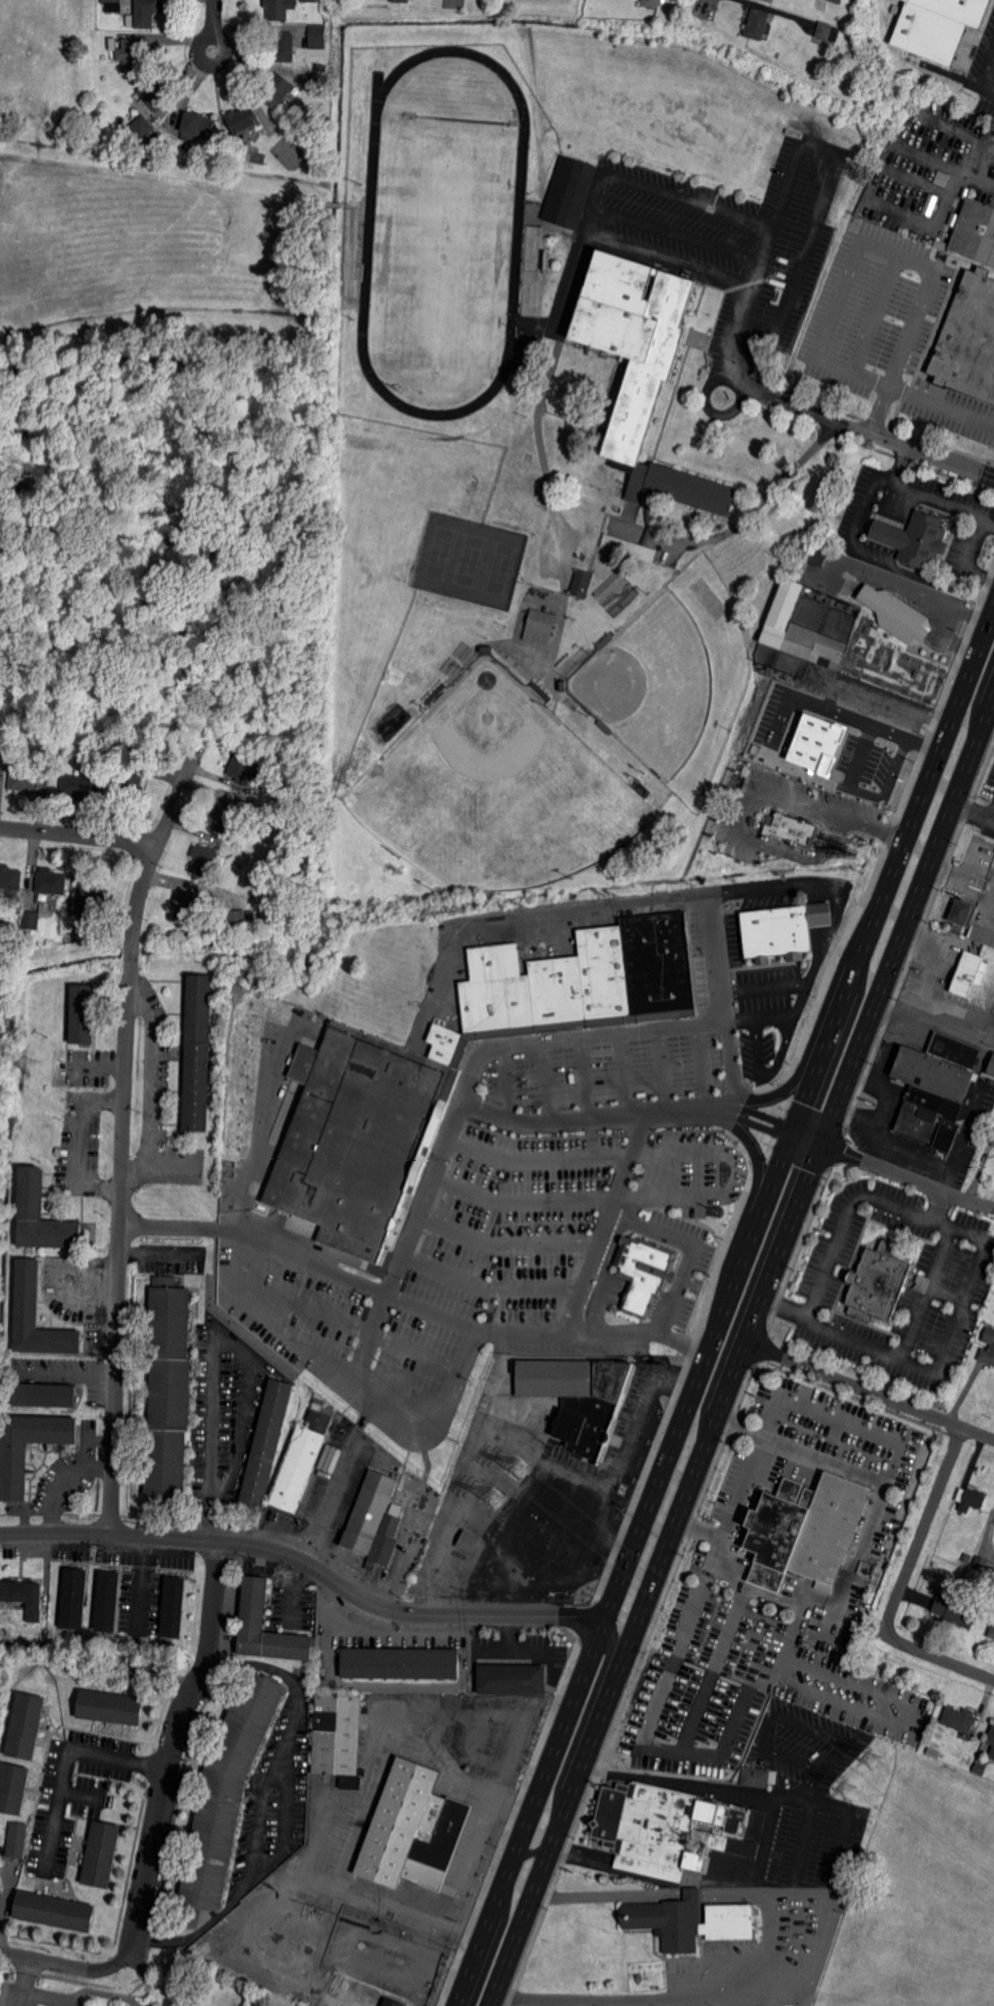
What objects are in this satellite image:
building: (310, 0)
building: (402, 0)
road: (453, 1)
building: (771, 1)
building: (342, 2)
building: (842, 2)
building: (653, 3)
building: (113, 6)
road: (706, 6)
building: (277, 9)
building: (141, 13)
building: (757, 24)
road: (211, 25)
building: (938, 26)
building: (828, 32)
building: (317, 36)
building: (284, 46)
building: (133, 54)
building: (321, 68)
road: (981, 77)
building: (317, 82)
building: (276, 90)
building: (155, 94)
building: (243, 119)
building: (197, 126)
building: (142, 127)
road: (813, 144)
road: (978, 181)
building: (570, 192)
road: (594, 202)
track: (368, 228)
building: (975, 231)
road: (679, 233)
road: (861, 247)
building: (350, 251)
park: (442, 256)
building: (546, 260)
road: (569, 284)
building: (968, 338)
building: (524, 363)
building: (643, 376)
road: (734, 381)
road: (915, 394)
road: (863, 431)
road: (541, 449)
road: (937, 497)
road: (862, 505)
building: (913, 539)
road: (980, 544)
park: (438, 552)
building: (819, 556)
park: (469, 559)
park: (499, 567)
road: (906, 571)
road: (982, 575)
building: (581, 583)
building: (612, 589)
building: (624, 601)
road: (972, 611)
building: (825, 613)
building: (897, 615)
building: (539, 627)
building: (799, 631)
road: (948, 638)
building: (605, 641)
building: (488, 649)
park: (651, 684)
building: (563, 686)
building: (540, 691)
building: (435, 693)
building: (790, 712)
building: (604, 728)
road: (821, 738)
building: (816, 743)
building: (117, 763)
building: (245, 769)
building: (868, 769)
building: (29, 781)
building: (129, 785)
building: (81, 786)
park: (496, 790)
building: (260, 792)
building: (260, 811)
building: (223, 815)
road: (736, 823)
road: (879, 826)
building: (790, 828)
road: (79, 835)
building: (204, 860)
building: (10, 877)
road: (813, 878)
building: (50, 881)
road: (960, 882)
building: (91, 893)
building: (205, 904)
building: (185, 905)
building: (48, 908)
building: (250, 914)
building: (963, 914)
road: (543, 915)
road: (989, 916)
building: (237, 918)
building: (30, 923)
road: (870, 924)
building: (782, 931)
building: (982, 934)
road: (900, 939)
road: (931, 970)
building: (970, 974)
road: (761, 986)
building: (83, 1014)
road: (932, 1018)
road: (618, 1031)
building: (198, 1053)
power tower: (26, 1059)
road: (97, 1064)
building: (991, 1067)
building: (452, 1071)
road: (153, 1080)
building: (937, 1089)
road: (885, 1090)
power tower: (4, 1092)
road: (730, 1103)
road: (765, 1114)
road: (124, 1127)
traffic signals: (793, 1130)
building: (991, 1136)
road: (889, 1137)
road: (80, 1141)
road: (253, 1144)
traffic signals: (823, 1144)
road: (892, 1170)
building: (41, 1215)
road: (846, 1216)
parking lot: (486, 1221)
road: (602, 1222)
road: (647, 1225)
road: (171, 1229)
road: (305, 1259)
building: (644, 1273)
building: (877, 1282)
gas station: (549, 1283)
parking lot: (896, 1283)
building: (37, 1315)
road: (261, 1327)
road: (213, 1341)
road: (909, 1341)
road: (368, 1342)
building: (992, 1345)
parking lot: (571, 1346)
road: (64, 1374)
building: (168, 1391)
road: (870, 1391)
building: (43, 1395)
building: (577, 1395)
road: (719, 1413)
road: (678, 1425)
building: (266, 1442)
road: (626, 1449)
road: (800, 1450)
building: (303, 1459)
road: (98, 1467)
power tower: (520, 1467)
building: (14, 1472)
road: (76, 1472)
road: (334, 1480)
road: (735, 1486)
power tower: (496, 1499)
building: (972, 1500)
building: (373, 1521)
building: (805, 1531)
building: (467, 1540)
road: (516, 1546)
building: (967, 1557)
road: (307, 1562)
road: (853, 1564)
building: (983, 1565)
road: (722, 1571)
road: (902, 1583)
building: (860, 1592)
building: (24, 1597)
building: (74, 1599)
building: (108, 1601)
building: (252, 1604)
building: (172, 1607)
building: (955, 1609)
road: (408, 1624)
building: (2, 1631)
building: (992, 1631)
road: (414, 1634)
road: (528, 1647)
road: (238, 1662)
building: (399, 1663)
building: (141, 1666)
building: (511, 1679)
building: (108, 1707)
road: (780, 1716)
building: (959, 1720)
building: (24, 1726)
building: (337, 1735)
building: (991, 1736)
power tower: (870, 1755)
road: (172, 1756)
road: (63, 1759)
building: (978, 1769)
building: (756, 1777)
road: (665, 1780)
building: (352, 1783)
road: (809, 1784)
building: (12, 1787)
power tower: (846, 1788)
building: (224, 1796)
road: (368, 1796)
road: (519, 1797)
road: (531, 1802)
road: (260, 1805)
road: (837, 1806)
building: (657, 1821)
road: (559, 1826)
building: (414, 1830)
building: (15, 1840)
building: (724, 1842)
road: (765, 1843)
road: (801, 1844)
road: (470, 1850)
building: (100, 1854)
road: (583, 1854)
building: (648, 1866)
road: (647, 1870)
road: (714, 1884)
road: (802, 1890)
road: (733, 1892)
road: (691, 1893)
road: (608, 1894)
road: (9, 1895)
building: (1, 1899)
building: (52, 1910)
road: (464, 1915)
building: (688, 1920)
road: (459, 1927)
road: (766, 1939)
road: (824, 1939)
road: (792, 1941)
road: (156, 1942)
road: (57, 1961)
road: (648, 1998)
building: (393, 2002)

